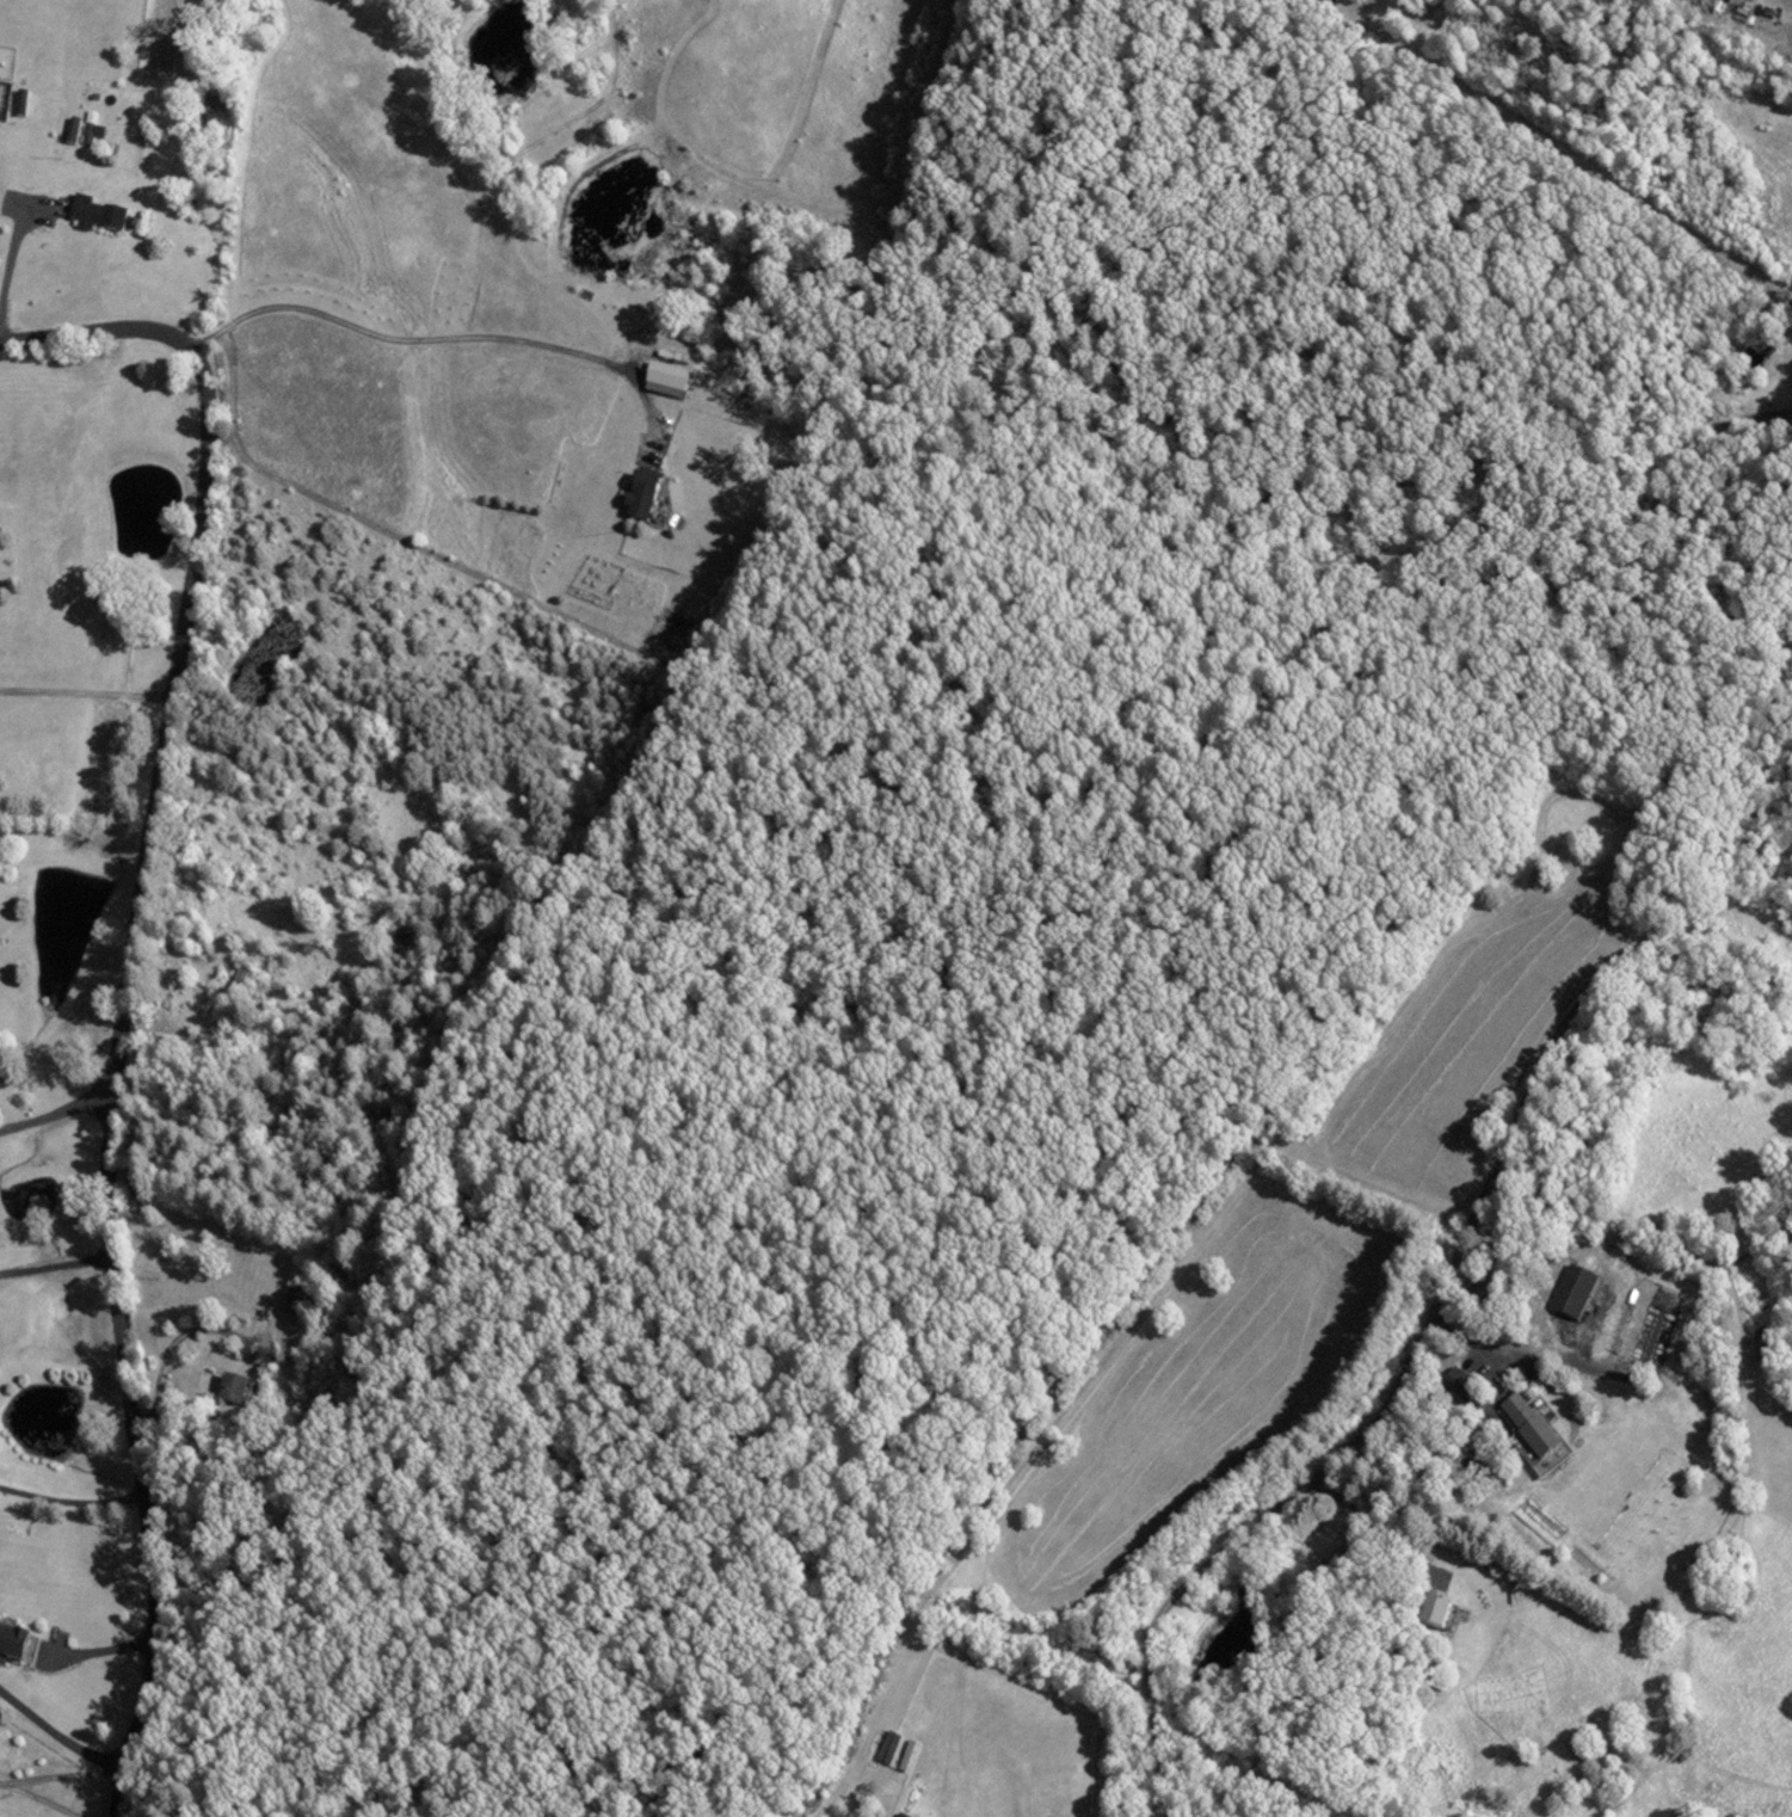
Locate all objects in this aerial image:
building: (101, 211)
road: (11, 246)
road: (431, 347)
building: (647, 493)
road: (1645, 618)
road: (86, 691)
building: (238, 979)
road: (130, 986)
road: (1526, 1100)
road: (63, 1109)
building: (296, 1294)
road: (167, 1363)
building: (229, 1387)
building: (1526, 1412)
road: (72, 1501)
road: (1224, 1544)
building: (1448, 1613)
building: (18, 1644)
road: (60, 1741)
road: (55, 1776)
road: (37, 1799)

